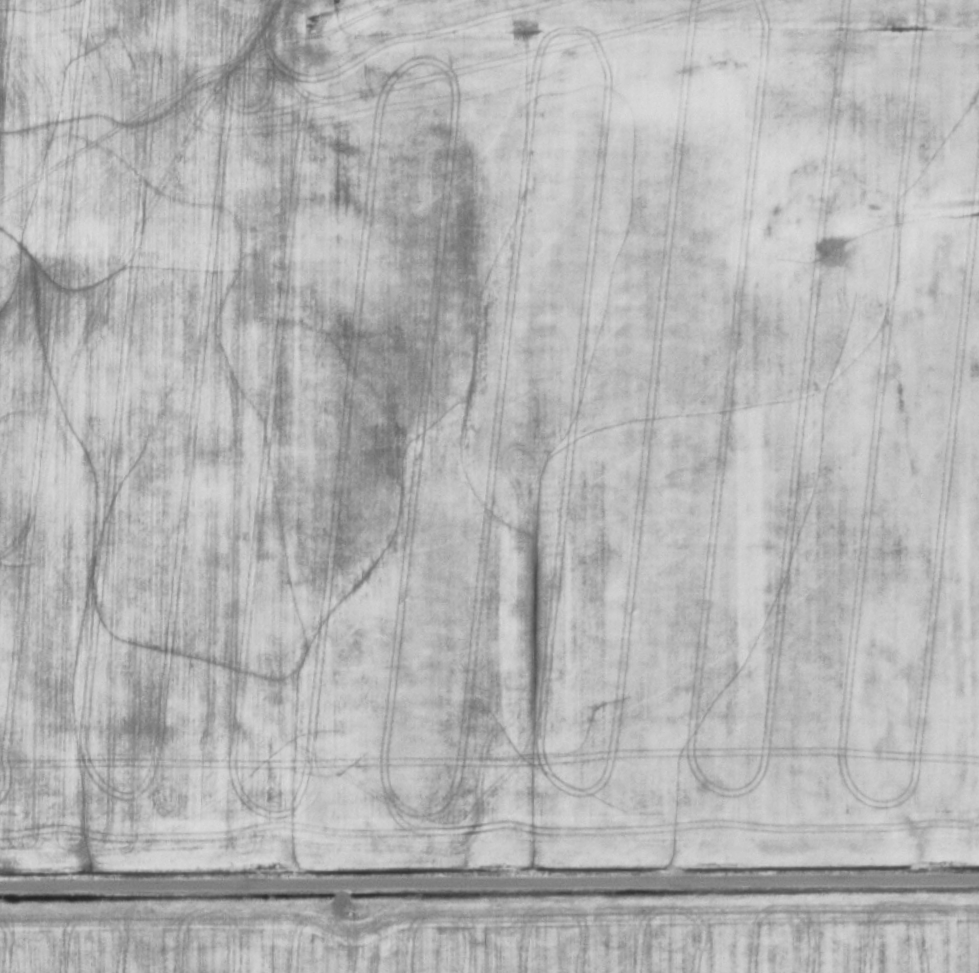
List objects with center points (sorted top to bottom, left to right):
road: (912, 202)
road: (489, 884)

